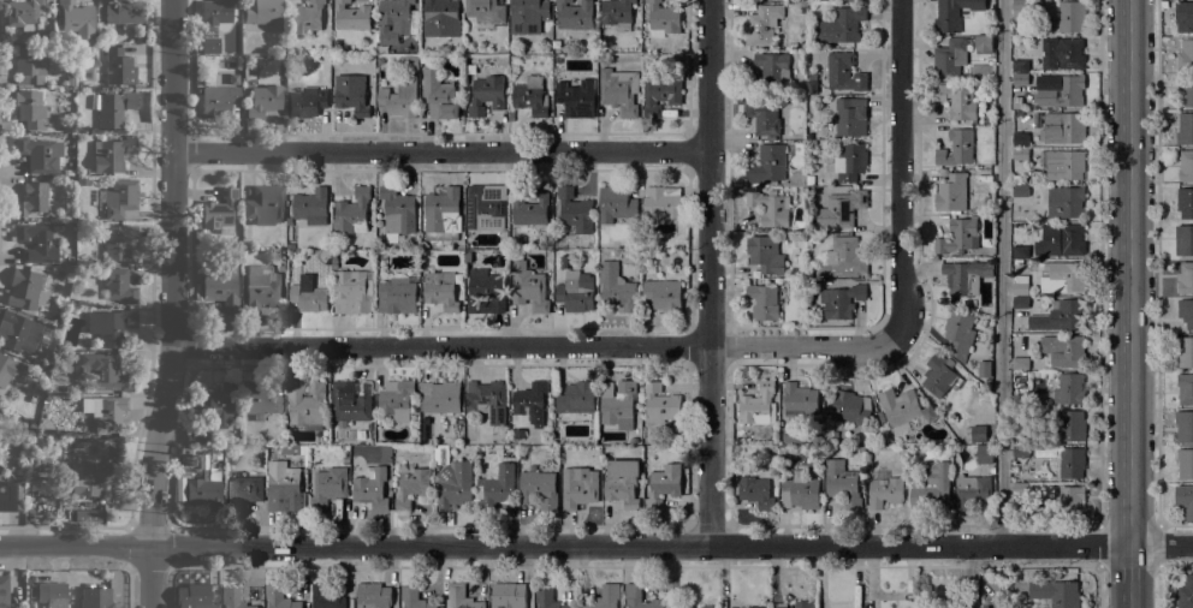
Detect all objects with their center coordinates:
building: (1020, 10)
building: (216, 11)
building: (263, 11)
building: (485, 11)
building: (125, 12)
building: (23, 13)
building: (617, 13)
building: (954, 13)
building: (575, 14)
building: (351, 16)
building: (528, 16)
building: (1070, 16)
building: (1183, 16)
building: (305, 17)
building: (441, 18)
building: (663, 18)
building: (77, 19)
building: (393, 19)
building: (762, 24)
building: (841, 25)
building: (984, 43)
building: (210, 44)
building: (414, 48)
building: (1062, 53)
building: (1185, 55)
building: (425, 58)
building: (600, 58)
building: (950, 58)
building: (558, 60)
building: (29, 65)
building: (1020, 65)
building: (119, 66)
building: (771, 71)
building: (843, 73)
building: (1019, 79)
building: (70, 81)
building: (812, 87)
building: (402, 91)
building: (619, 91)
building: (1063, 93)
building: (1186, 93)
building: (486, 94)
building: (439, 95)
building: (530, 95)
building: (660, 95)
building: (575, 97)
building: (263, 100)
building: (351, 100)
building: (218, 101)
building: (307, 101)
building: (957, 102)
building: (1014, 103)
building: (1031, 103)
building: (114, 107)
building: (30, 108)
building: (1019, 113)
building: (762, 117)
building: (850, 117)
building: (1062, 127)
building: (1185, 129)
building: (1020, 138)
building: (67, 139)
building: (812, 142)
building: (956, 148)
road: (440, 153)
building: (1020, 153)
building: (38, 154)
building: (112, 154)
building: (850, 161)
building: (767, 165)
building: (1064, 165)
building: (1186, 166)
building: (83, 173)
road: (904, 174)
building: (796, 179)
building: (811, 180)
building: (1016, 180)
building: (83, 181)
building: (1020, 191)
building: (951, 193)
building: (32, 197)
building: (120, 198)
building: (661, 202)
building: (1064, 202)
building: (1185, 202)
building: (616, 203)
building: (265, 204)
building: (311, 207)
building: (770, 207)
building: (440, 208)
building: (486, 208)
building: (532, 208)
building: (352, 209)
building: (841, 209)
building: (219, 210)
building: (575, 210)
building: (975, 210)
building: (397, 213)
building: (957, 236)
building: (811, 238)
building: (468, 239)
building: (1183, 239)
building: (40, 240)
building: (1061, 240)
building: (118, 242)
building: (535, 243)
building: (99, 244)
building: (289, 245)
building: (1020, 251)
building: (765, 254)
building: (423, 255)
building: (468, 256)
building: (842, 258)
building: (564, 262)
road: (1099, 263)
road: (1157, 263)
building: (333, 264)
building: (589, 267)
road: (999, 272)
road: (708, 273)
building: (809, 274)
building: (556, 275)
building: (961, 276)
building: (1020, 278)
building: (1063, 278)
building: (1185, 278)
building: (119, 285)
building: (261, 286)
building: (616, 286)
building: (530, 288)
building: (1020, 288)
building: (26, 290)
building: (221, 290)
building: (440, 290)
building: (486, 291)
building: (351, 292)
building: (574, 293)
building: (397, 294)
building: (663, 294)
building: (308, 298)
building: (841, 300)
building: (762, 302)
building: (1020, 302)
road: (1128, 303)
road: (171, 304)
building: (1186, 312)
building: (1061, 316)
building: (55, 317)
building: (109, 326)
building: (14, 330)
building: (958, 333)
road: (539, 347)
building: (1063, 350)
building: (1185, 351)
building: (1021, 363)
building: (24, 365)
building: (5, 369)
building: (984, 369)
building: (106, 370)
building: (938, 374)
building: (36, 387)
building: (1185, 388)
building: (1068, 389)
building: (440, 397)
building: (261, 398)
building: (576, 398)
building: (396, 399)
building: (529, 399)
building: (351, 400)
building: (487, 400)
building: (1020, 400)
building: (218, 401)
building: (797, 401)
building: (660, 404)
building: (305, 405)
building: (619, 405)
building: (759, 405)
building: (898, 406)
building: (850, 407)
building: (0, 411)
building: (105, 411)
building: (880, 416)
building: (257, 417)
building: (368, 425)
building: (1183, 425)
building: (1069, 427)
building: (469, 431)
building: (518, 433)
building: (197, 434)
building: (979, 434)
building: (1020, 437)
building: (634, 440)
building: (736, 441)
building: (111, 448)
building: (683, 448)
building: (737, 448)
building: (946, 448)
building: (1020, 451)
building: (185, 452)
building: (296, 452)
building: (215, 453)
building: (441, 454)
building: (984, 454)
building: (345, 460)
building: (1072, 463)
building: (1185, 464)
building: (183, 470)
building: (213, 475)
building: (90, 477)
building: (622, 482)
building: (455, 483)
building: (842, 483)
building: (411, 484)
building: (664, 484)
building: (578, 485)
building: (284, 487)
building: (327, 487)
building: (495, 487)
building: (931, 487)
building: (539, 488)
building: (1020, 488)
building: (179, 489)
building: (370, 489)
building: (971, 490)
building: (243, 491)
building: (756, 491)
building: (885, 491)
building: (203, 493)
building: (801, 493)
building: (11, 496)
building: (1185, 499)
building: (1072, 501)
building: (87, 514)
road: (1049, 526)
road: (1175, 526)
road: (596, 546)
road: (1100, 546)
road: (1158, 546)
road: (1175, 566)
road: (1034, 567)
road: (969, 576)
road: (1158, 586)
road: (1100, 588)
building: (4, 591)
building: (1056, 592)
building: (1186, 592)
building: (52, 594)
building: (508, 594)
building: (195, 595)
building: (373, 595)
building: (279, 597)
building: (326, 597)
building: (414, 597)
building: (462, 597)
building: (605, 597)
building: (640, 597)
building: (95, 598)
building: (232, 598)
building: (547, 598)
building: (803, 604)
building: (779, 606)
building: (685, 607)
building: (707, 607)
building: (756, 607)

